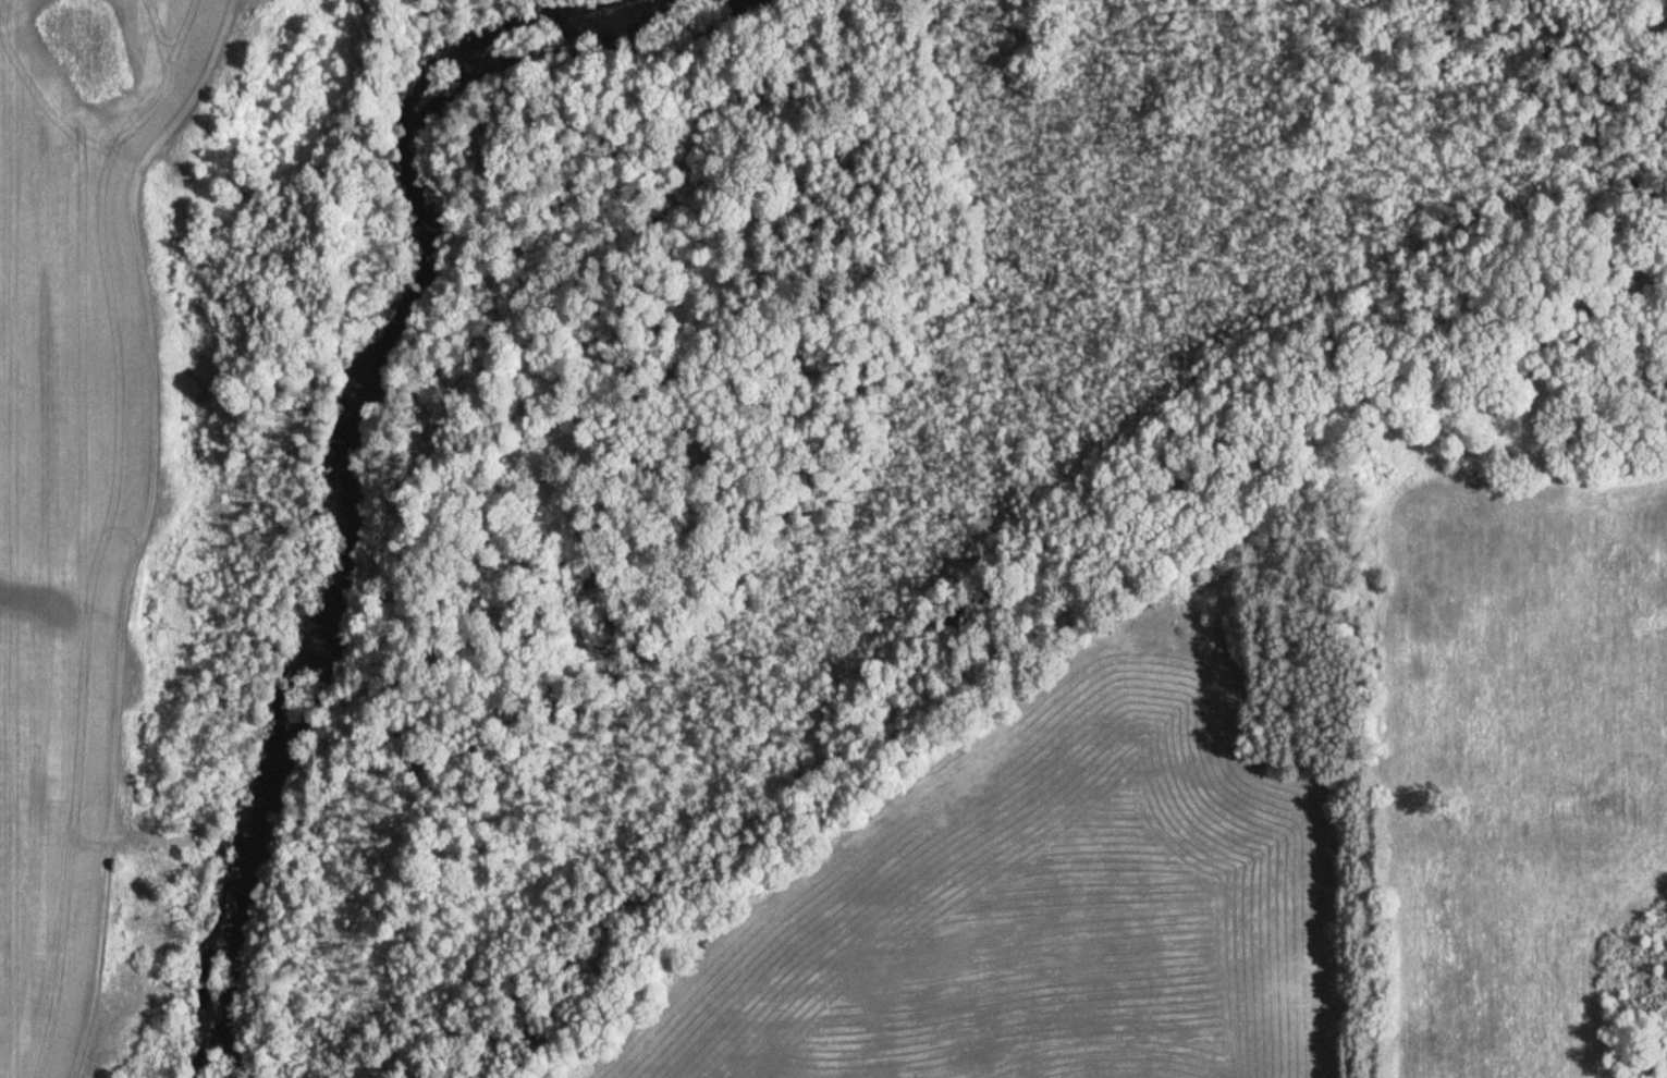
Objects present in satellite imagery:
river: (343, 448)

